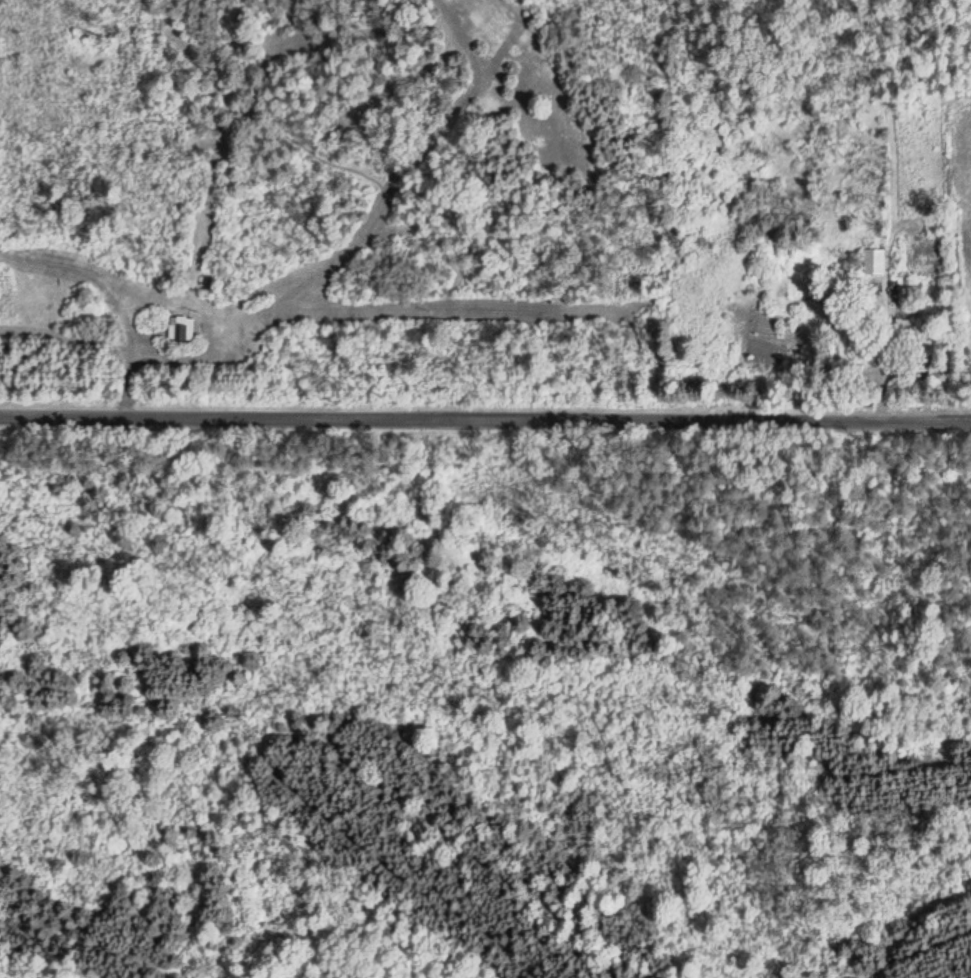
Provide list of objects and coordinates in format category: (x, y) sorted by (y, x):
building: (873, 262)
building: (182, 330)
road: (485, 413)

